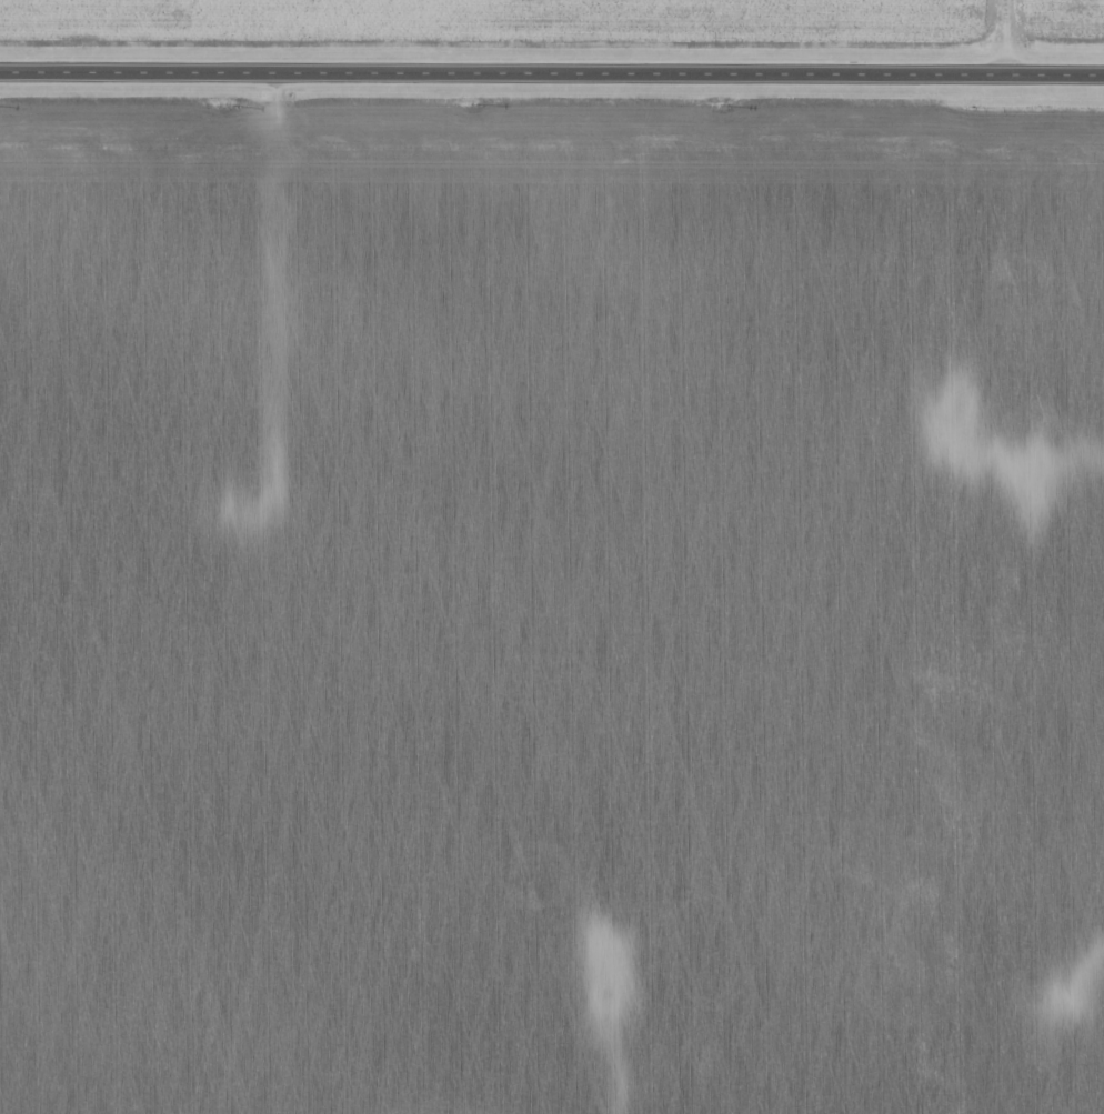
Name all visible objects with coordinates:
road: (552, 72)

